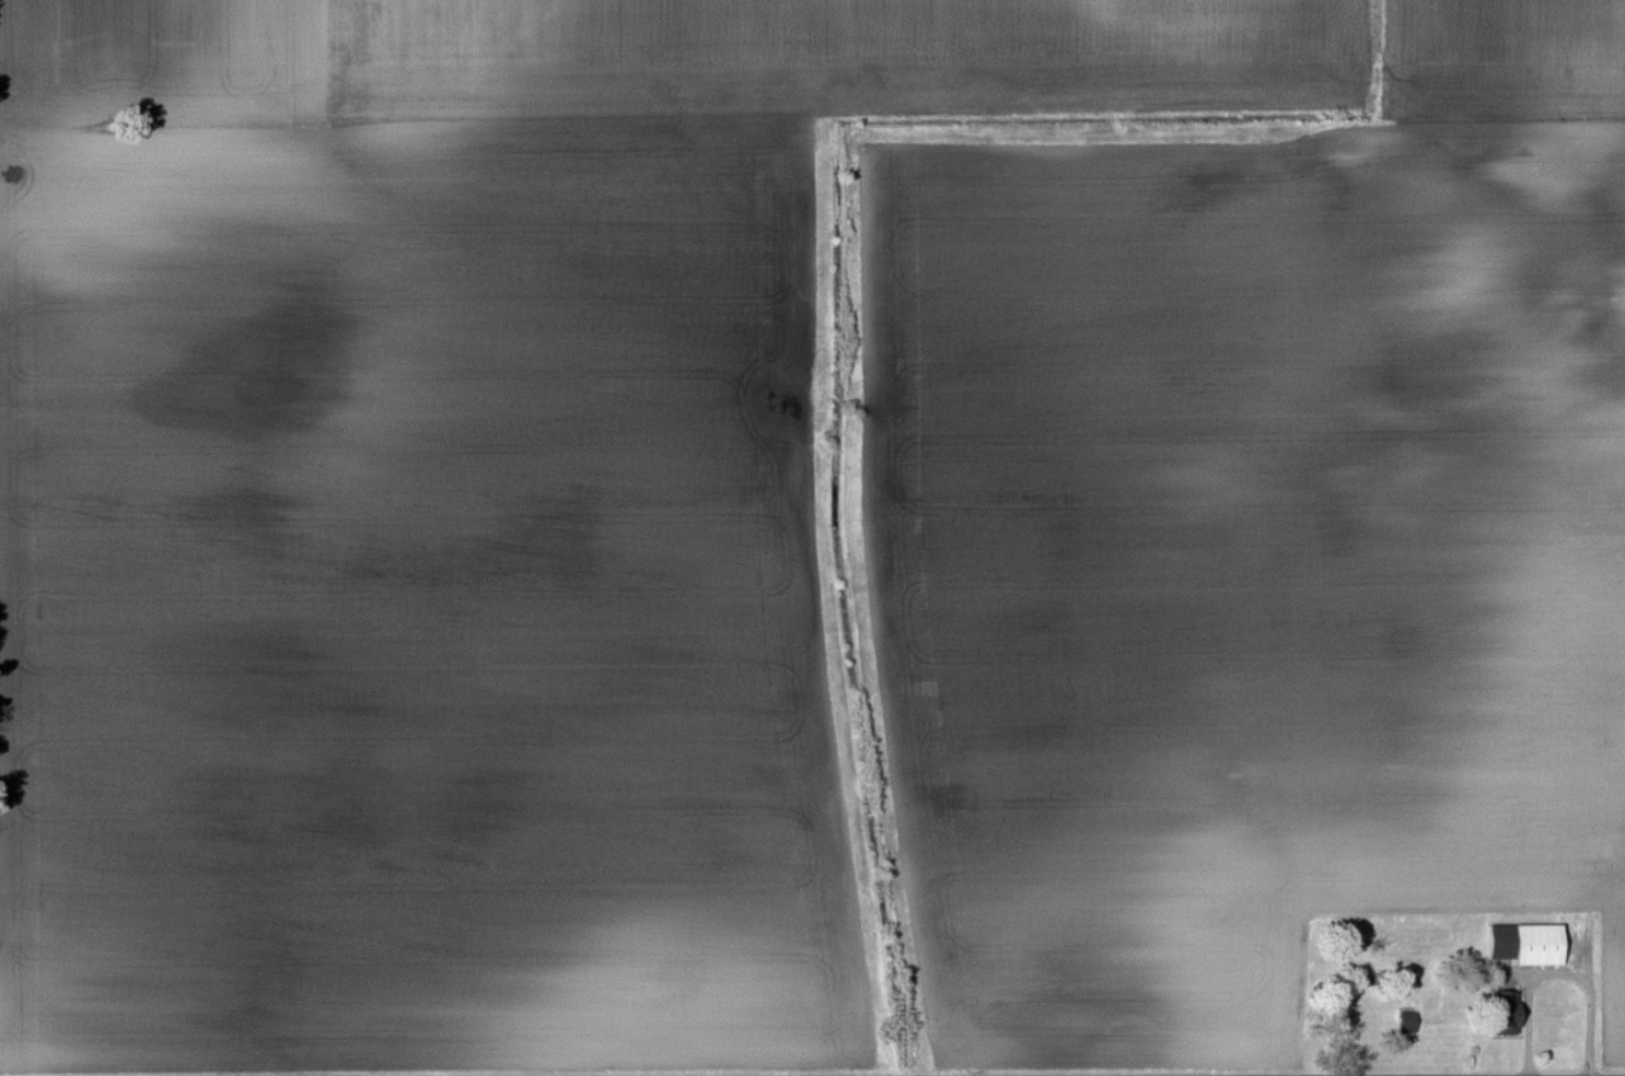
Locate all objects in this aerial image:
road: (1606, 821)
building: (1500, 939)
building: (1539, 944)
building: (1505, 1014)

